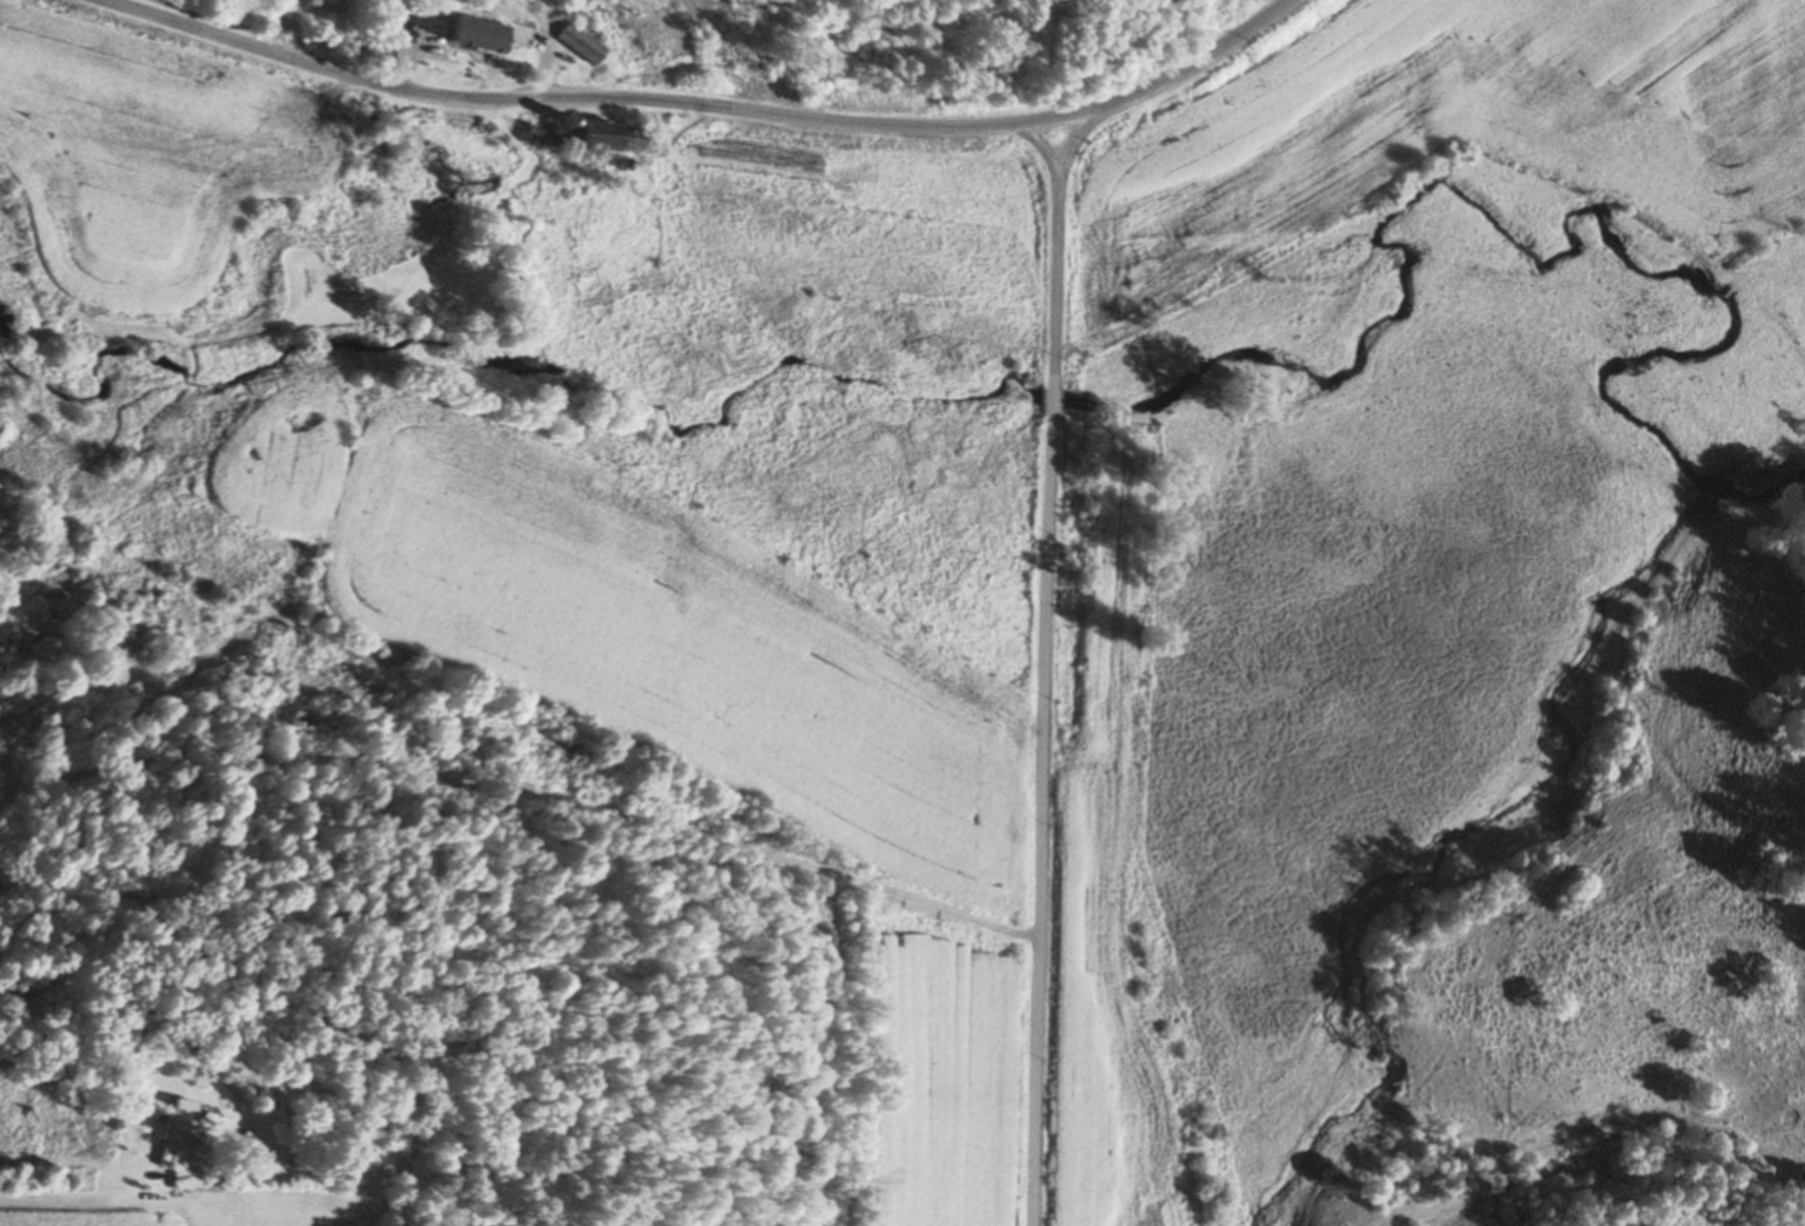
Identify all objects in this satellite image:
building: (512, 31)
building: (445, 33)
building: (579, 42)
road: (700, 109)
building: (603, 137)
road: (1072, 141)
crop: (150, 142)
road: (1054, 264)
crop: (684, 658)
road: (1039, 820)
building: (191, 1161)
crop: (189, 1208)

